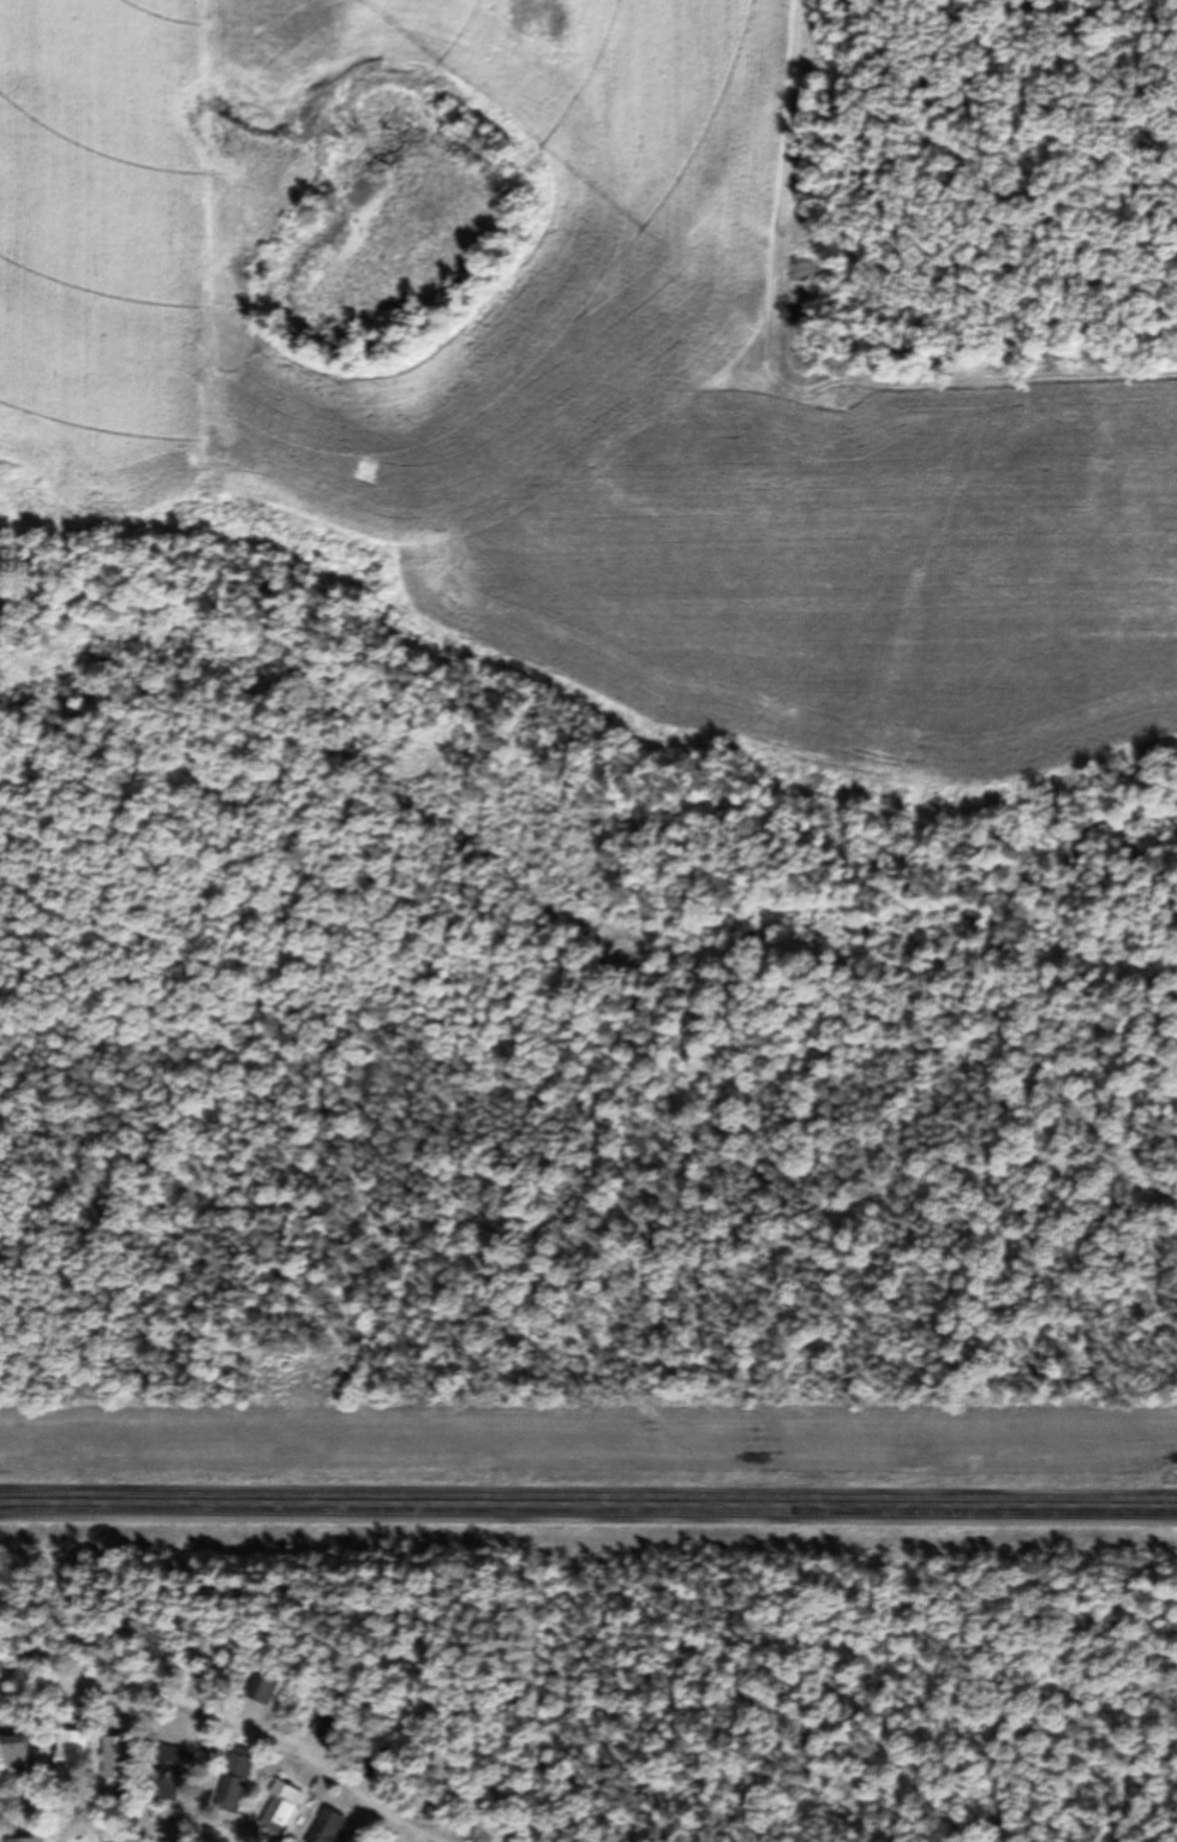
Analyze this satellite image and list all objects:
road: (588, 1512)
building: (262, 1695)
building: (67, 1753)
building: (13, 1755)
building: (231, 1787)
building: (157, 1788)
road: (157, 1800)
building: (276, 1810)
building: (325, 1829)
building: (18, 1841)

